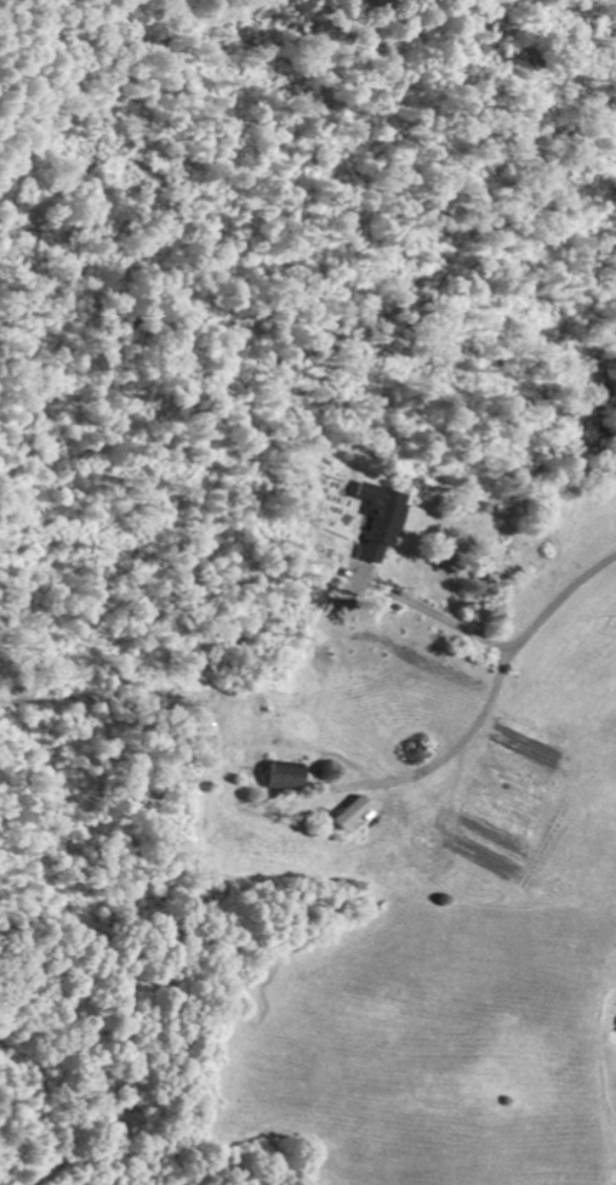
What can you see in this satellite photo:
road: (591, 478)
building: (380, 520)
building: (281, 776)
building: (348, 815)

